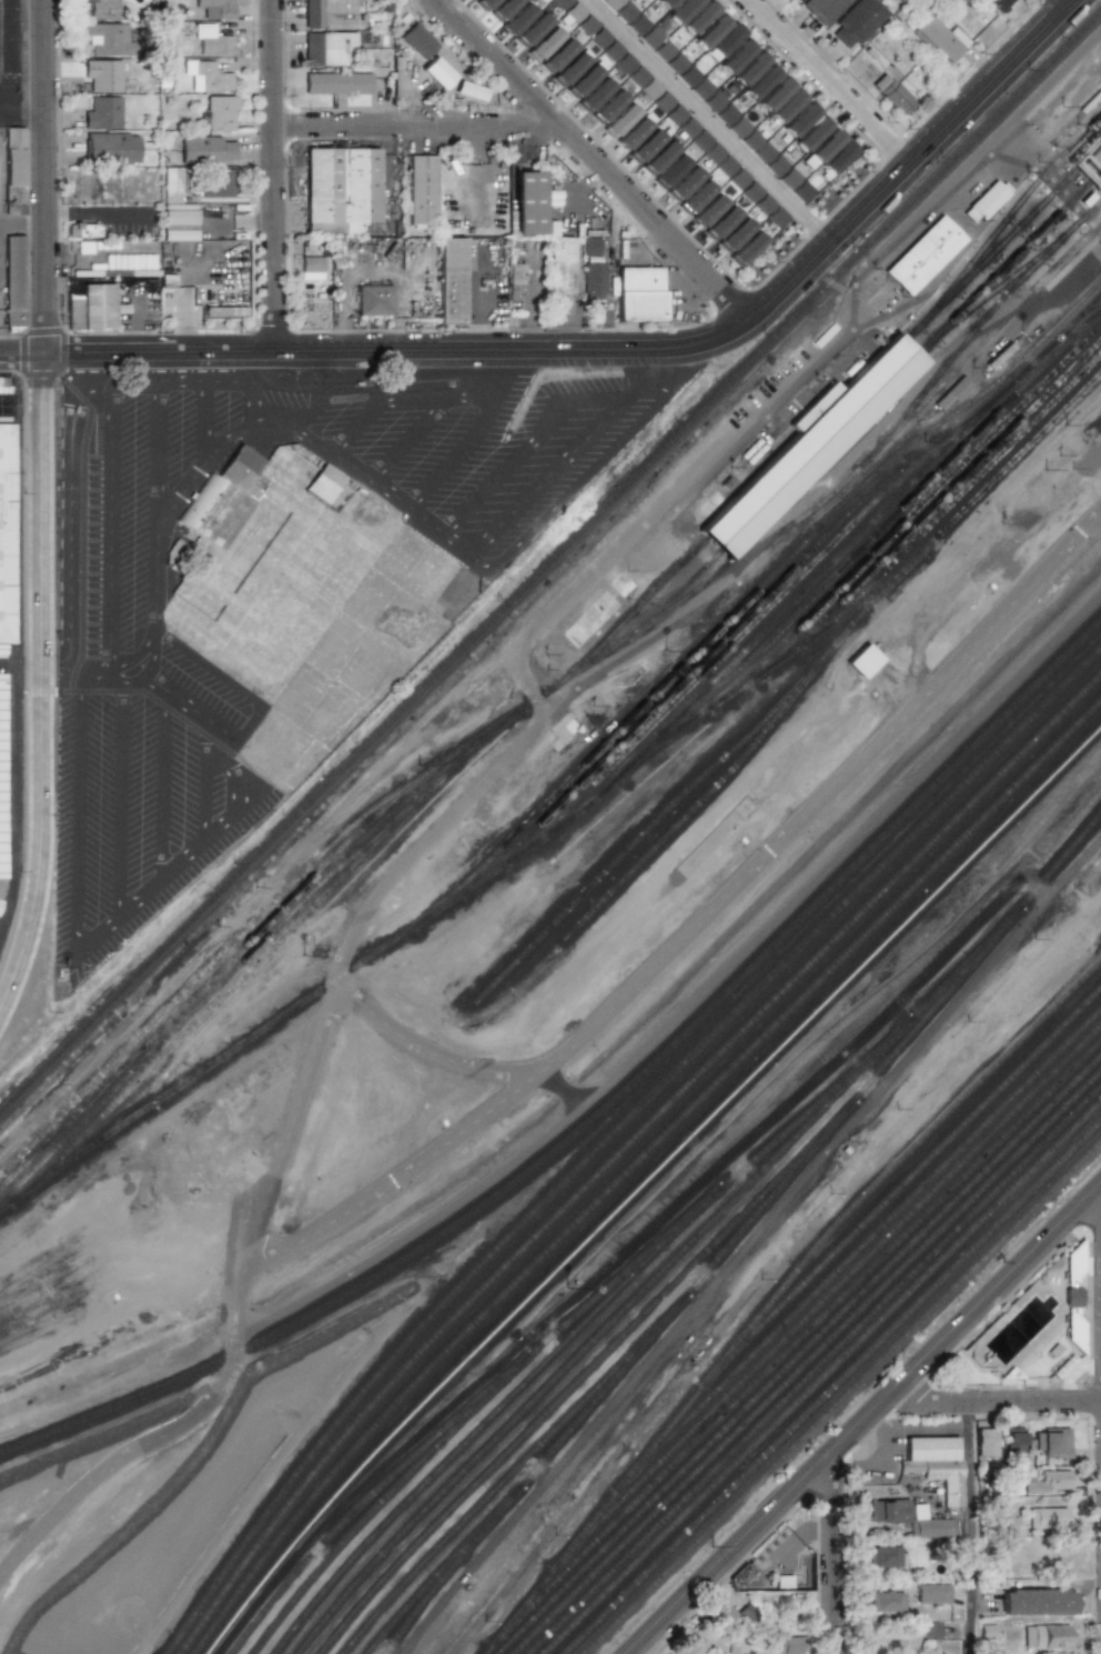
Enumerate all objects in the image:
building: (798, 0)
road: (1068, 2)
building: (484, 3)
building: (559, 3)
building: (612, 3)
building: (664, 3)
building: (999, 4)
building: (101, 8)
building: (216, 8)
building: (503, 9)
building: (825, 9)
building: (680, 10)
building: (573, 12)
building: (624, 12)
building: (329, 13)
building: (698, 17)
building: (517, 19)
building: (858, 22)
building: (637, 24)
building: (586, 26)
building: (532, 30)
building: (710, 30)
building: (108, 38)
building: (940, 39)
building: (211, 41)
building: (418, 41)
building: (723, 43)
building: (543, 44)
building: (605, 44)
building: (656, 44)
building: (329, 48)
building: (557, 56)
building: (736, 56)
building: (436, 59)
building: (624, 63)
building: (675, 63)
building: (570, 68)
building: (749, 68)
building: (105, 76)
building: (210, 76)
building: (687, 76)
building: (636, 77)
building: (585, 79)
building: (760, 81)
road: (828, 81)
building: (337, 83)
building: (649, 89)
building: (700, 89)
building: (775, 93)
building: (892, 94)
building: (594, 96)
building: (713, 101)
building: (787, 106)
building: (607, 107)
road: (22, 110)
building: (102, 112)
building: (221, 113)
building: (674, 114)
building: (726, 114)
building: (800, 119)
building: (619, 121)
road: (710, 121)
road: (417, 124)
building: (738, 127)
building: (811, 132)
building: (699, 140)
building: (750, 140)
building: (645, 147)
building: (110, 148)
building: (206, 149)
building: (821, 149)
building: (764, 152)
building: (713, 153)
road: (593, 158)
building: (837, 158)
building: (658, 159)
building: (725, 166)
building: (777, 166)
building: (18, 171)
building: (669, 172)
road: (274, 176)
road: (43, 177)
building: (789, 178)
building: (738, 179)
building: (216, 183)
building: (170, 184)
building: (684, 184)
building: (342, 186)
railway: (960, 188)
railway: (969, 189)
building: (423, 190)
building: (800, 191)
building: (750, 192)
railway: (933, 197)
building: (695, 198)
building: (986, 201)
building: (528, 203)
building: (764, 204)
street lamp: (27, 208)
building: (708, 211)
building: (776, 217)
building: (176, 218)
road: (97, 219)
building: (720, 223)
building: (333, 228)
building: (83, 230)
building: (734, 235)
railway: (1010, 237)
building: (589, 245)
building: (746, 249)
building: (925, 255)
building: (559, 264)
building: (310, 267)
building: (515, 278)
building: (594, 278)
building: (18, 280)
building: (450, 281)
railway: (997, 289)
road: (0, 290)
building: (640, 295)
building: (372, 299)
building: (101, 305)
building: (78, 310)
building: (221, 312)
railway: (991, 312)
railway: (1067, 335)
road: (627, 350)
road: (21, 355)
railway: (962, 365)
railway: (1006, 375)
road: (349, 377)
road: (431, 380)
road: (471, 384)
building: (4, 385)
road: (316, 388)
building: (952, 392)
road: (423, 399)
railway: (873, 399)
road: (627, 401)
railway: (840, 408)
road: (202, 421)
road: (353, 427)
road: (406, 439)
building: (814, 444)
road: (219, 448)
road: (458, 450)
road: (154, 459)
road: (67, 482)
building: (324, 483)
railway: (866, 484)
railway: (967, 491)
building: (223, 498)
railway: (938, 504)
railway: (913, 512)
building: (1020, 513)
railway: (891, 518)
road: (108, 528)
building: (4, 535)
road: (604, 558)
railway: (549, 563)
railway: (799, 595)
railway: (751, 597)
building: (2, 650)
railway: (728, 651)
building: (862, 661)
road: (21, 662)
railway: (683, 680)
parking lot: (150, 684)
road: (42, 688)
road: (161, 692)
railway: (382, 746)
building: (2, 775)
road: (205, 783)
railway: (695, 784)
road: (163, 786)
road: (119, 800)
railway: (381, 804)
railway: (689, 814)
railway: (572, 819)
road: (162, 880)
building: (1, 884)
road: (695, 928)
railway: (260, 960)
railway: (222, 983)
railway: (202, 990)
street lamp: (50, 1013)
road: (432, 1054)
railway: (604, 1111)
railway: (614, 1134)
railway: (625, 1153)
road: (282, 1156)
railway: (634, 1165)
railway: (645, 1183)
railway: (902, 1184)
road: (1097, 1194)
railway: (740, 1232)
railway: (865, 1244)
railway: (623, 1274)
building: (1072, 1275)
railway: (834, 1290)
railway: (778, 1293)
railway: (600, 1333)
railway: (800, 1339)
railway: (799, 1354)
railway: (807, 1362)
railway: (816, 1370)
railway: (824, 1377)
railway: (573, 1386)
railway: (832, 1387)
railway: (844, 1399)
road: (996, 1402)
railway: (494, 1415)
road: (863, 1417)
road: (915, 1432)
building: (987, 1441)
building: (1014, 1442)
building: (1051, 1442)
building: (936, 1463)
road: (879, 1470)
railway: (512, 1474)
building: (1049, 1482)
railway: (382, 1501)
building: (887, 1511)
building: (1047, 1516)
building: (932, 1527)
road: (970, 1528)
road: (801, 1537)
road: (835, 1556)
building: (885, 1556)
railway: (442, 1568)
power substation: (779, 1568)
power tower: (745, 1578)
building: (759, 1581)
building: (931, 1594)
building: (886, 1601)
building: (1037, 1601)
building: (723, 1613)
building: (930, 1630)
building: (988, 1631)
building: (1047, 1636)
building: (788, 1643)
building: (691, 1645)
building: (735, 1647)

